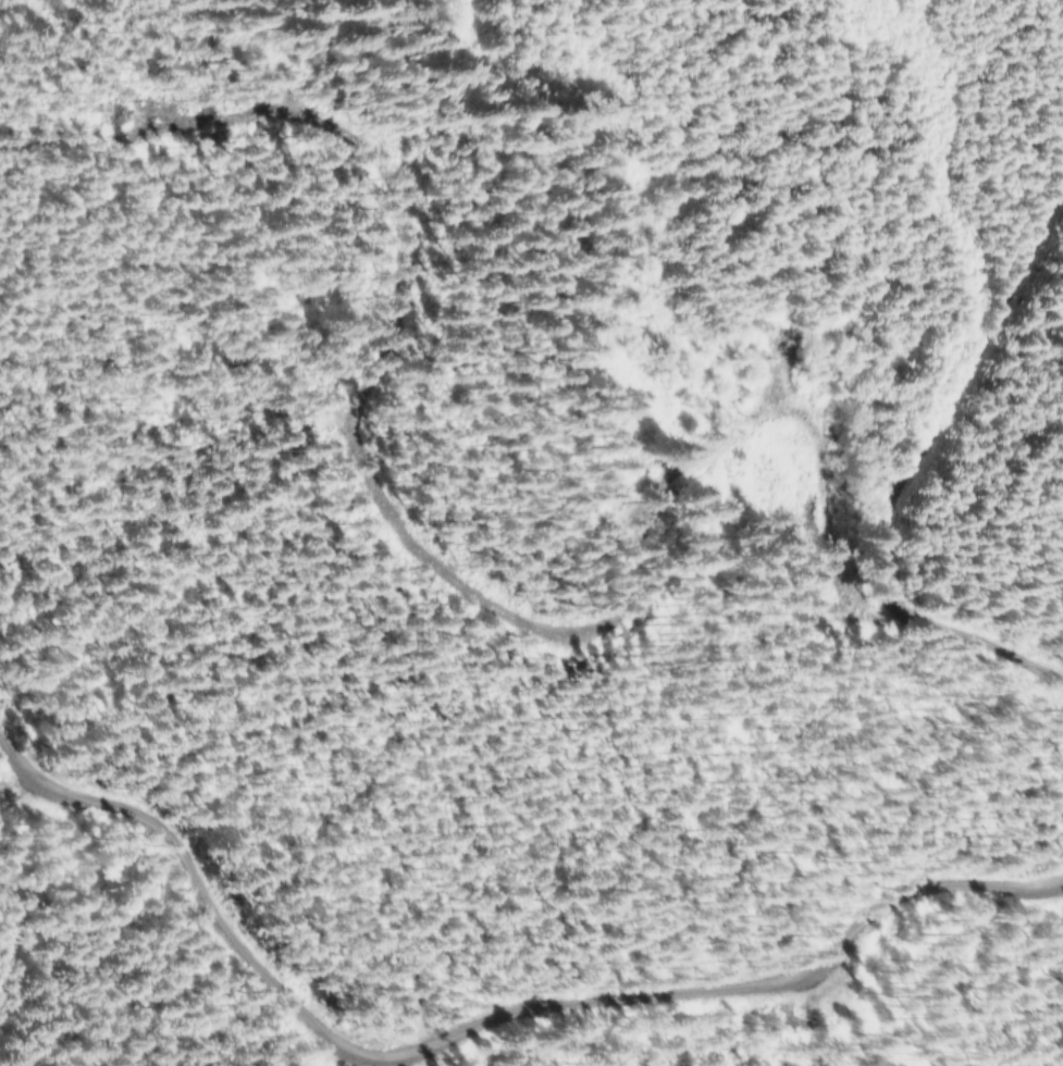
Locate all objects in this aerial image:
road: (925, 457)
road: (470, 1034)

